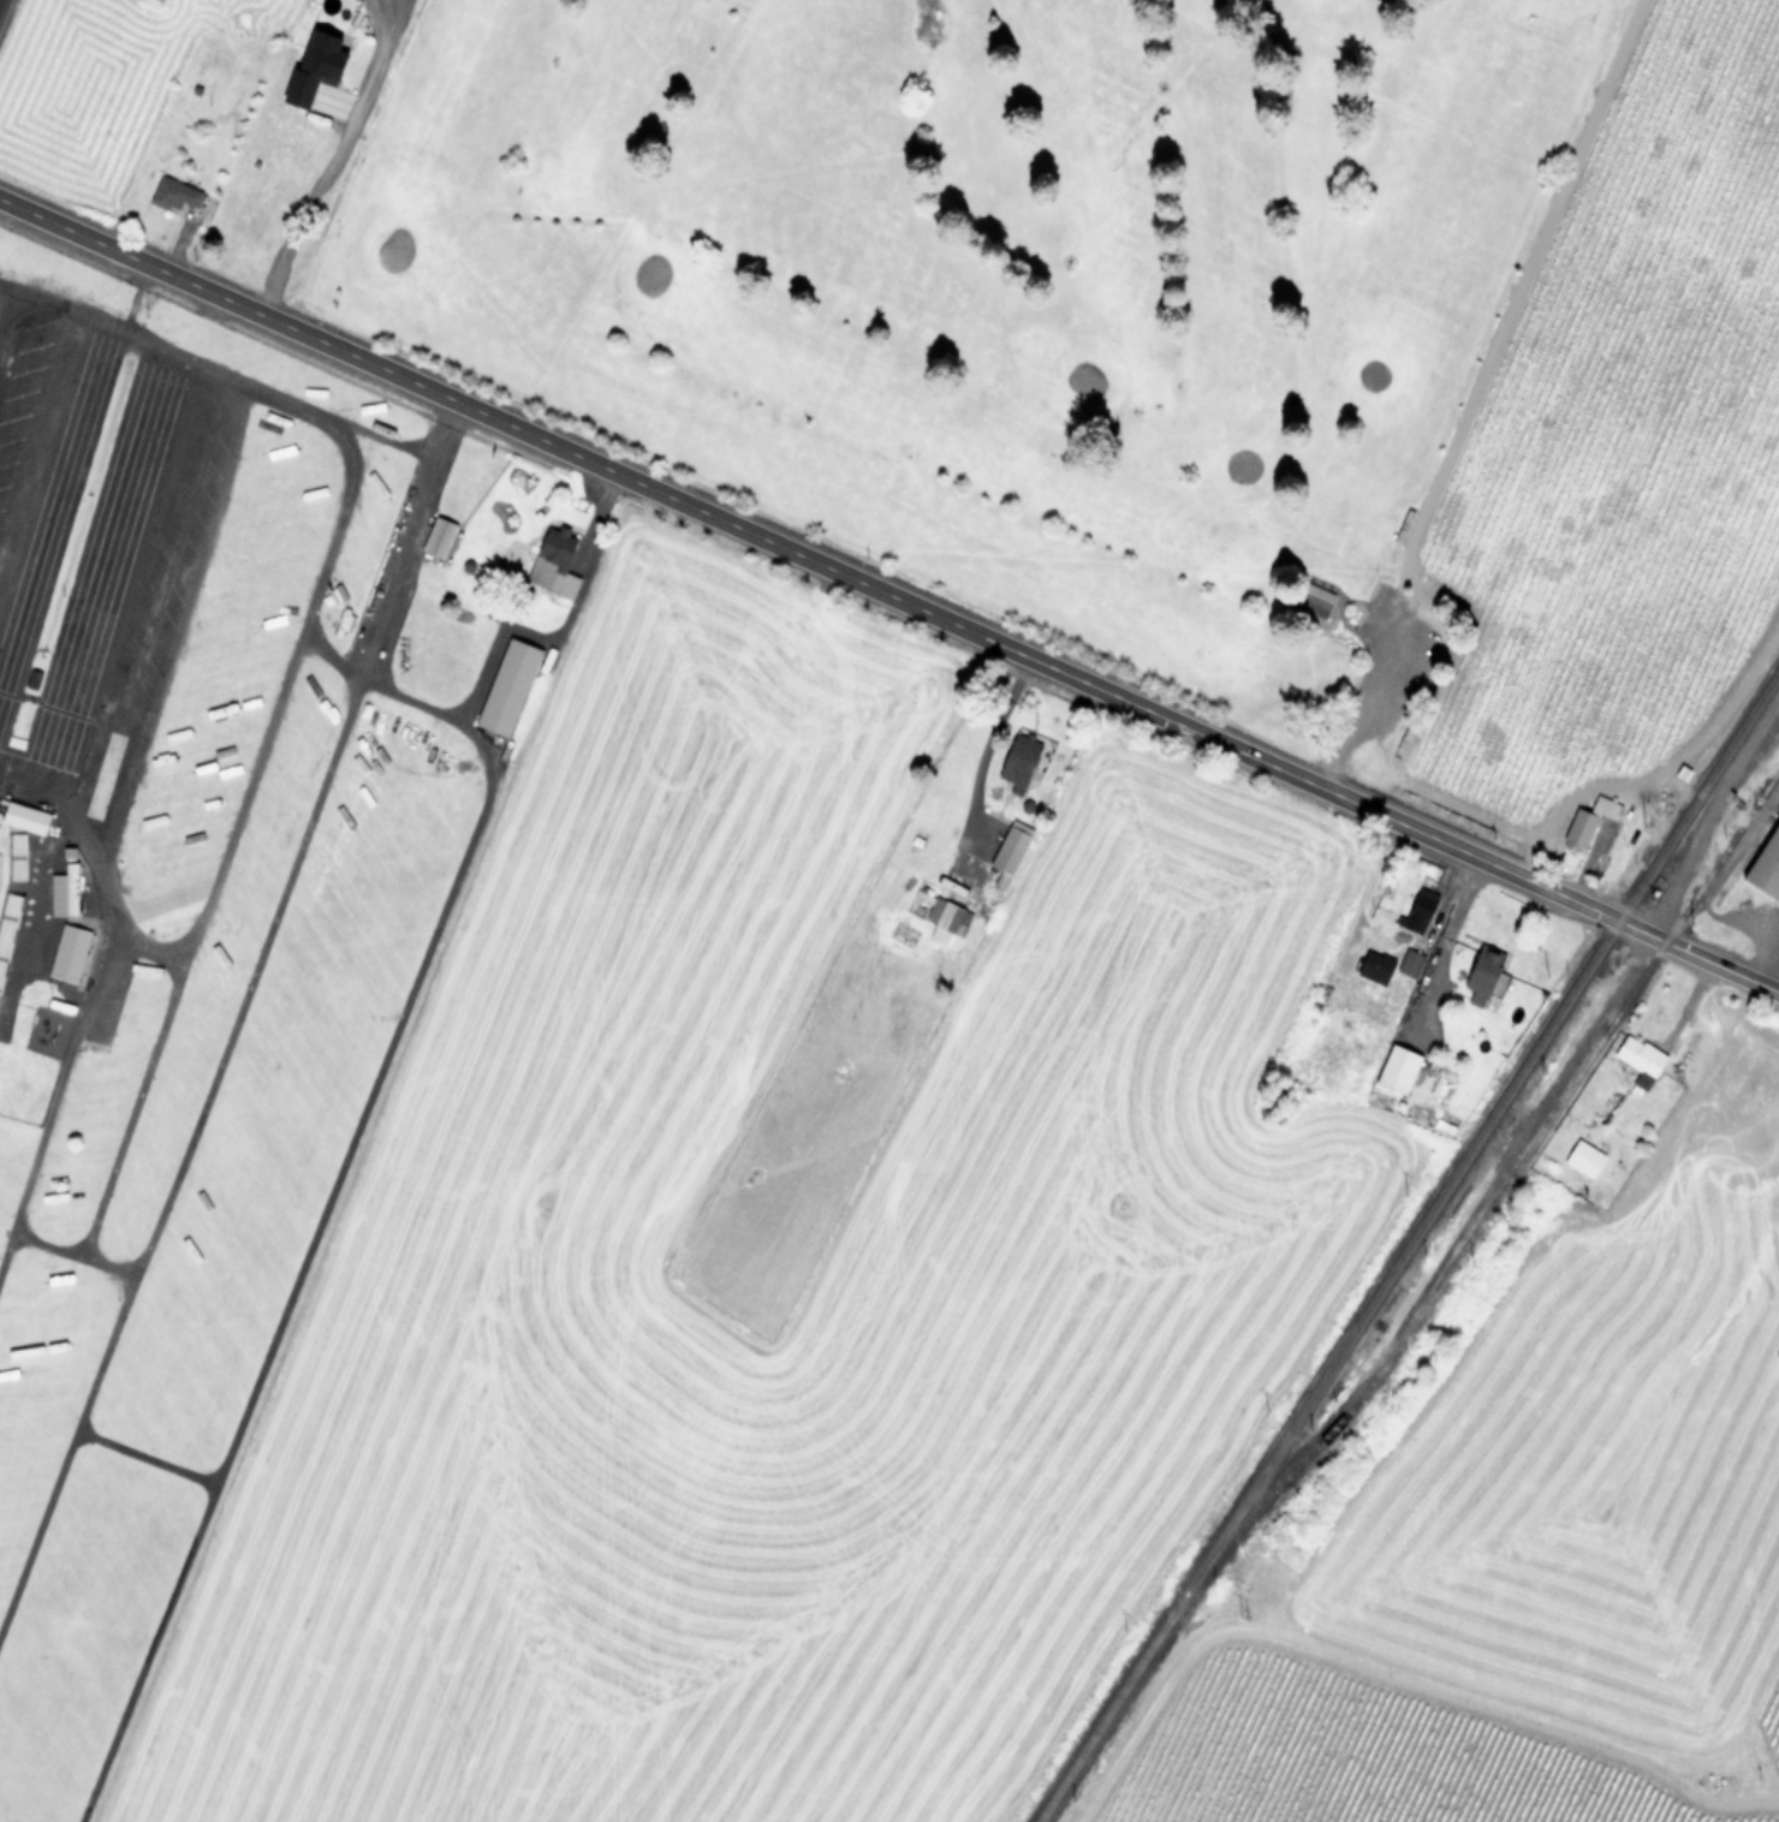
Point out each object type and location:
road: (0, 1)
crop: (212, 118)
road: (325, 157)
building: (172, 195)
building: (245, 222)
park: (1010, 284)
road: (10, 322)
road: (218, 370)
crop: (1606, 474)
road: (54, 502)
building: (438, 536)
building: (1698, 538)
building: (552, 562)
road: (99, 577)
road: (889, 596)
road: (558, 630)
road: (165, 657)
building: (505, 687)
road: (1353, 701)
road: (986, 745)
building: (1019, 760)
building: (96, 796)
road: (72, 817)
building: (1591, 818)
road: (230, 832)
building: (1009, 847)
stadium: (16, 856)
building: (1765, 864)
building: (63, 891)
building: (1418, 909)
stadium: (6, 922)
building: (944, 922)
road: (144, 949)
building: (66, 953)
building: (1408, 965)
building: (1372, 966)
building: (1477, 975)
road: (1777, 986)
building: (207, 988)
road: (228, 1016)
building: (1637, 1059)
building: (1394, 1068)
road: (53, 1103)
building: (1581, 1159)
road: (332, 1185)
railway: (1501, 1186)
building: (49, 1211)
crop: (820, 1239)
railway: (1406, 1245)
road: (71, 1255)
road: (144, 1455)
crop: (1569, 1526)
road: (1748, 1728)

